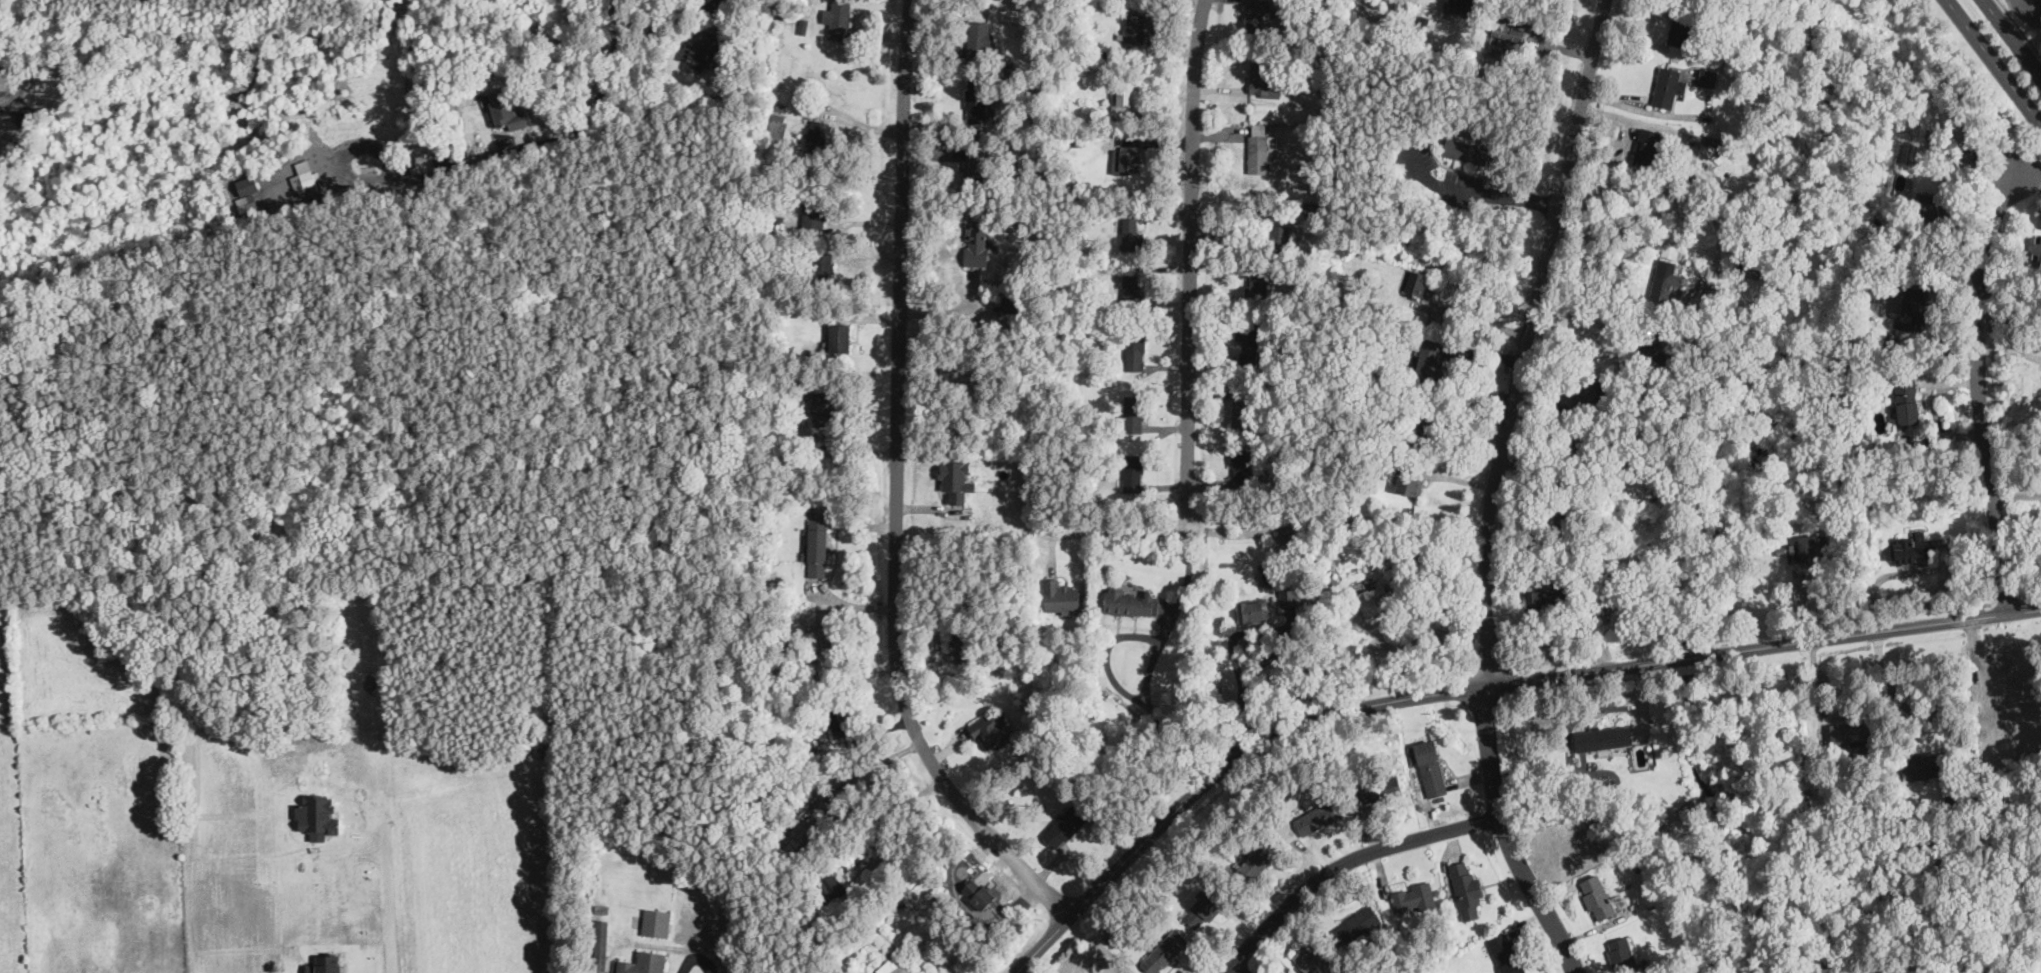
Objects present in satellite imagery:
building: (1461, 5)
building: (1258, 13)
building: (775, 14)
road: (663, 17)
building: (838, 18)
building: (1135, 27)
road: (2019, 27)
building: (1510, 28)
building: (1680, 31)
road: (2013, 37)
building: (981, 40)
building: (701, 51)
road: (1995, 60)
building: (1708, 77)
building: (1264, 79)
building: (1669, 86)
building: (1126, 97)
building: (976, 101)
building: (504, 109)
road: (1644, 110)
road: (852, 119)
building: (778, 127)
building: (819, 131)
road: (554, 138)
building: (1714, 140)
building: (1258, 144)
building: (1648, 147)
building: (1465, 151)
road: (342, 152)
building: (1126, 160)
building: (423, 165)
building: (976, 167)
building: (305, 177)
road: (1481, 193)
building: (1924, 209)
building: (813, 213)
building: (1262, 225)
building: (1131, 231)
building: (977, 240)
building: (2037, 243)
building: (826, 263)
road: (1190, 263)
building: (1749, 268)
building: (1665, 278)
building: (1257, 282)
building: (1417, 282)
building: (1132, 287)
building: (1012, 304)
building: (1911, 308)
road: (1472, 319)
road: (1580, 319)
building: (840, 338)
building: (1247, 338)
road: (1524, 340)
building: (1651, 348)
building: (1134, 357)
building: (1429, 358)
road: (1982, 388)
building: (1591, 392)
building: (1906, 400)
building: (1242, 407)
building: (823, 409)
building: (1134, 412)
building: (1425, 431)
building: (1589, 449)
building: (1241, 465)
building: (1134, 472)
building: (956, 479)
building: (1410, 481)
road: (897, 487)
road: (1109, 530)
building: (817, 546)
building: (1909, 548)
building: (1802, 550)
building: (1614, 594)
building: (1061, 595)
building: (1289, 595)
building: (1374, 599)
building: (1544, 599)
building: (1130, 601)
building: (1253, 610)
road: (1425, 636)
building: (965, 645)
road: (1480, 686)
building: (2015, 702)
road: (1923, 713)
building: (839, 716)
building: (991, 732)
building: (1852, 732)
building: (1603, 737)
building: (1927, 765)
building: (1430, 767)
building: (1385, 790)
building: (1317, 816)
building: (1065, 825)
building: (805, 831)
road: (1507, 836)
road: (860, 838)
building: (1259, 859)
road: (1342, 863)
building: (1466, 890)
building: (978, 893)
building: (1598, 896)
building: (1413, 897)
road: (388, 898)
building: (1203, 909)
building: (656, 921)
building: (1359, 922)
building: (601, 944)
building: (1163, 951)
building: (1619, 952)
building: (1506, 953)
building: (1311, 960)
building: (644, 963)
building: (893, 966)
road: (1238, 967)

